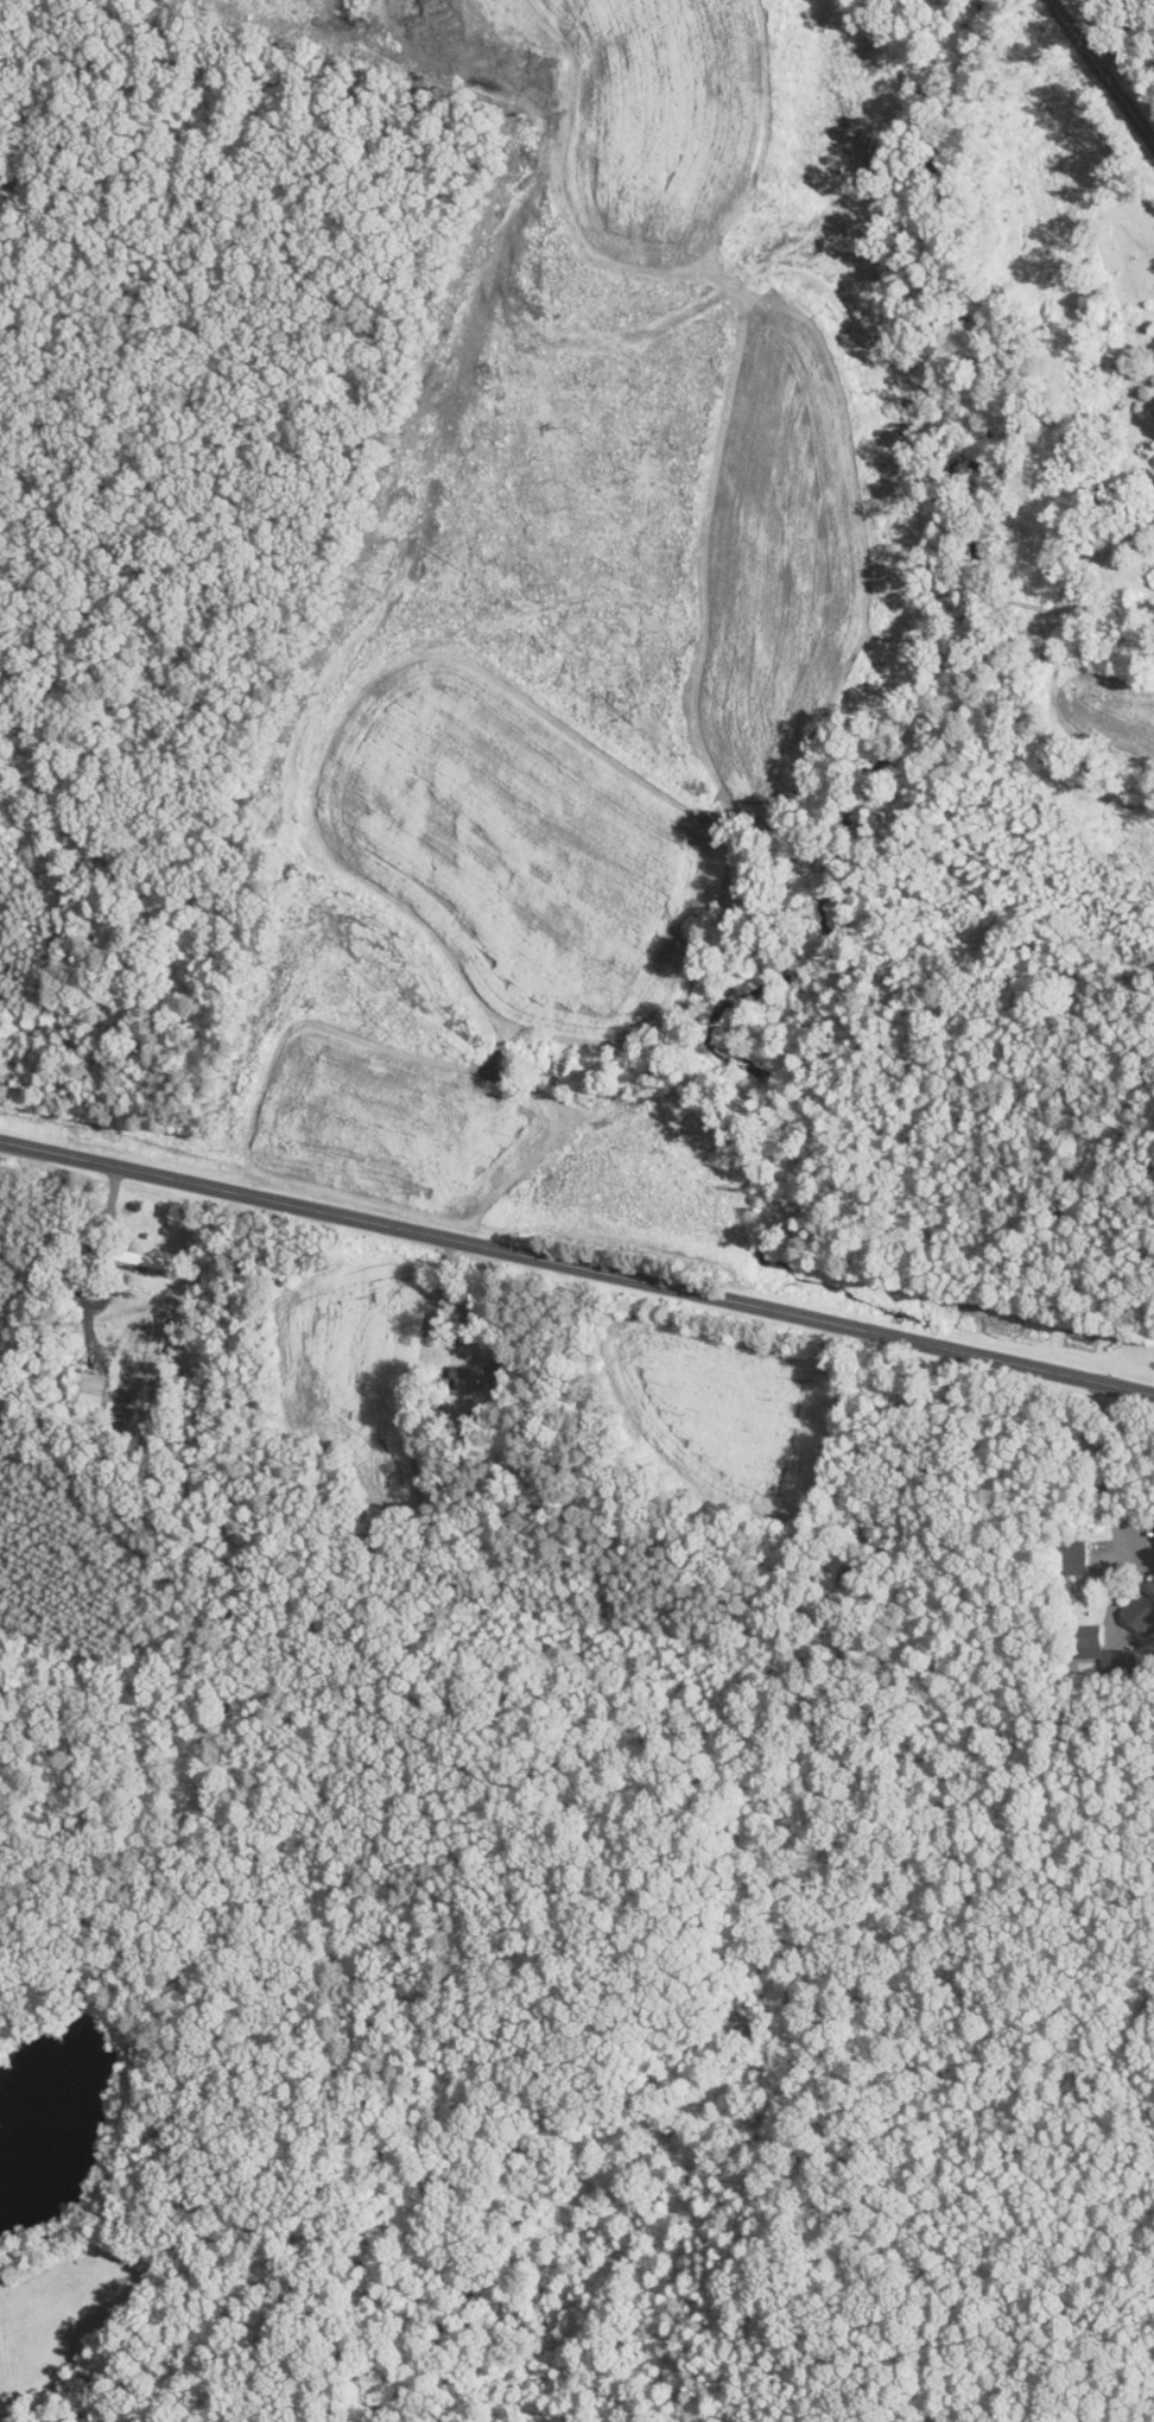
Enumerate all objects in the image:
road: (1126, 33)
road: (1104, 69)
building: (1149, 476)
road: (577, 1266)
road: (439, 1295)
building: (89, 1388)
road: (1101, 1472)
building: (1076, 1562)
building: (1147, 1599)
building: (1089, 1636)
building: (1126, 1663)

